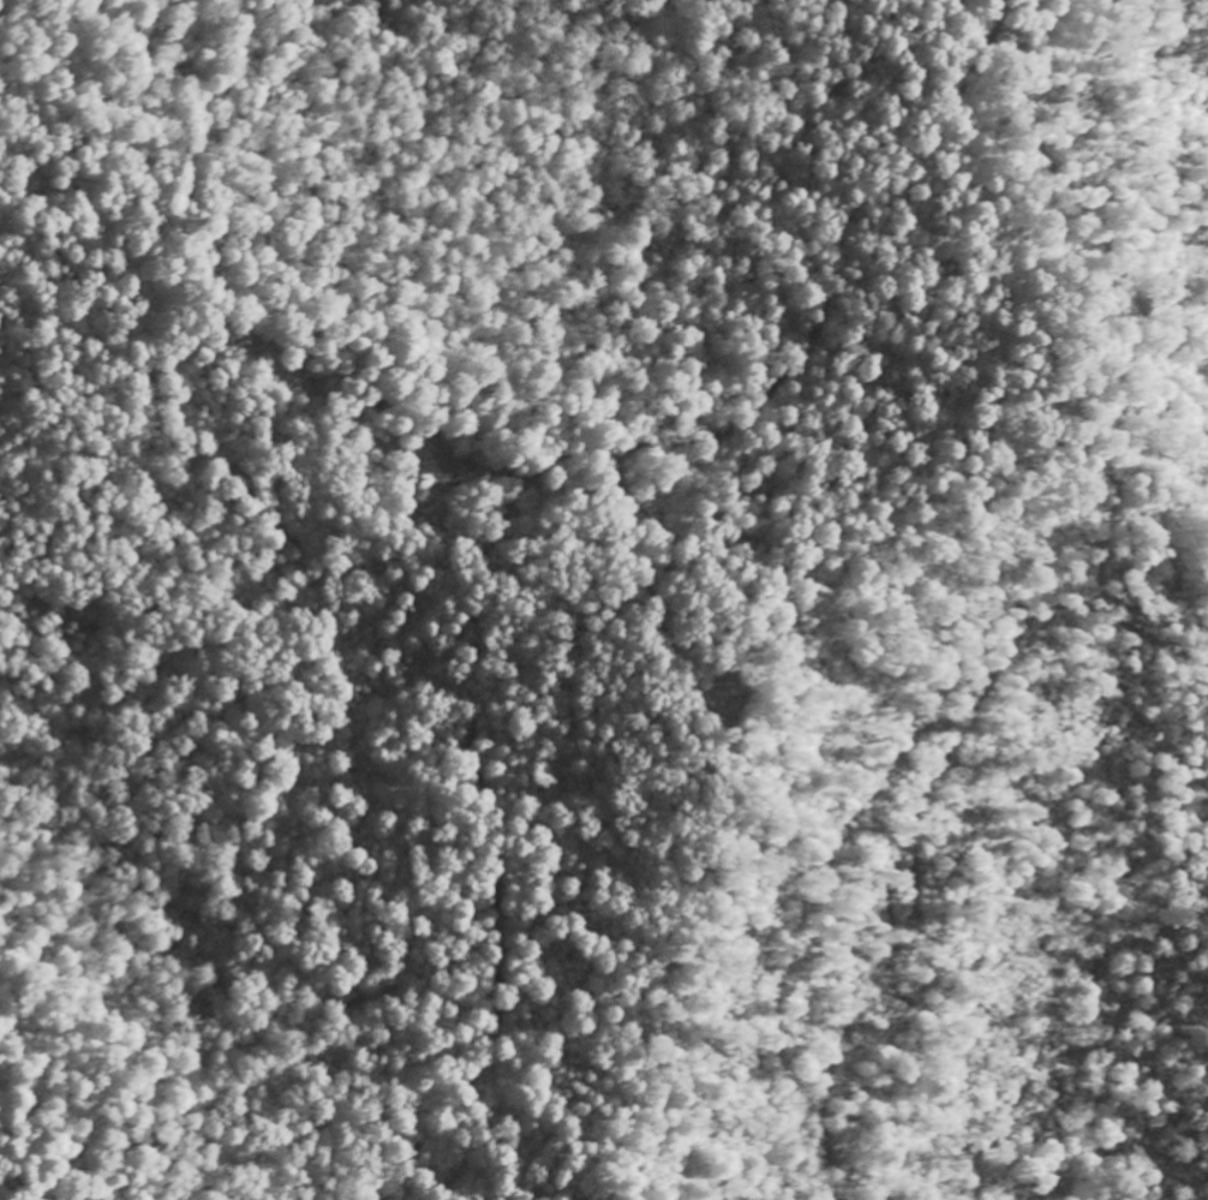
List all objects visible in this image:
road: (989, 29)
road: (1088, 253)
road: (767, 394)
road: (162, 521)

